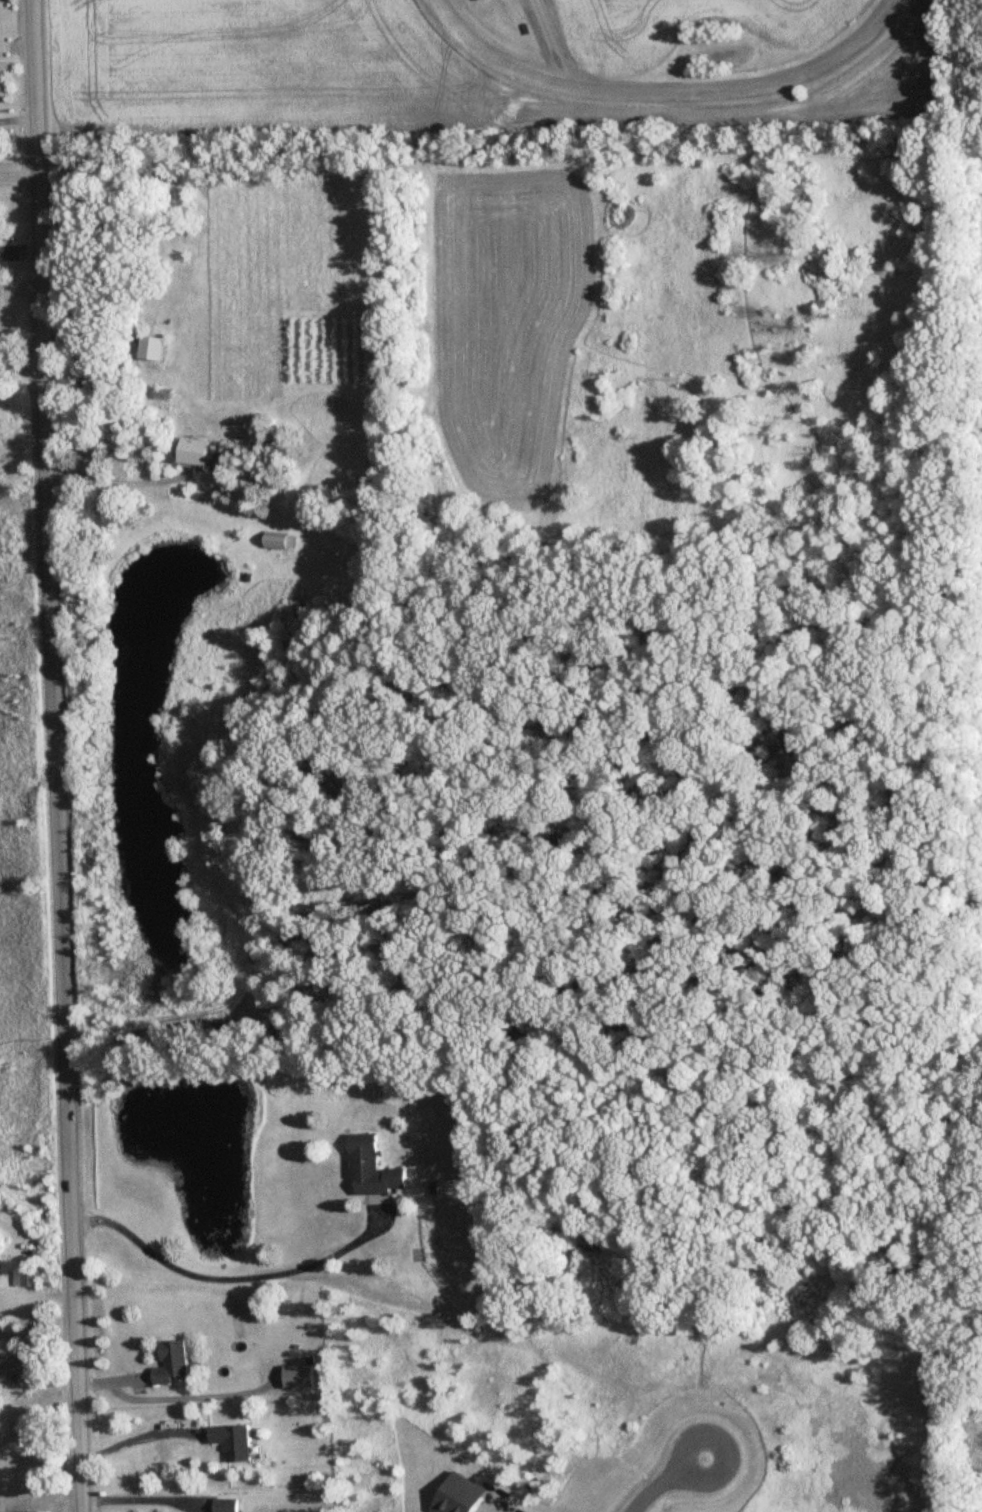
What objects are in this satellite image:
building: (481, 0)
road: (16, 120)
road: (17, 176)
building: (153, 348)
road: (21, 361)
building: (198, 452)
building: (285, 542)
road: (53, 756)
building: (374, 1169)
road: (231, 1272)
building: (29, 1279)
building: (177, 1363)
building: (301, 1377)
road: (141, 1431)
building: (238, 1441)
road: (663, 1479)
building: (227, 1506)
road: (497, 1510)

